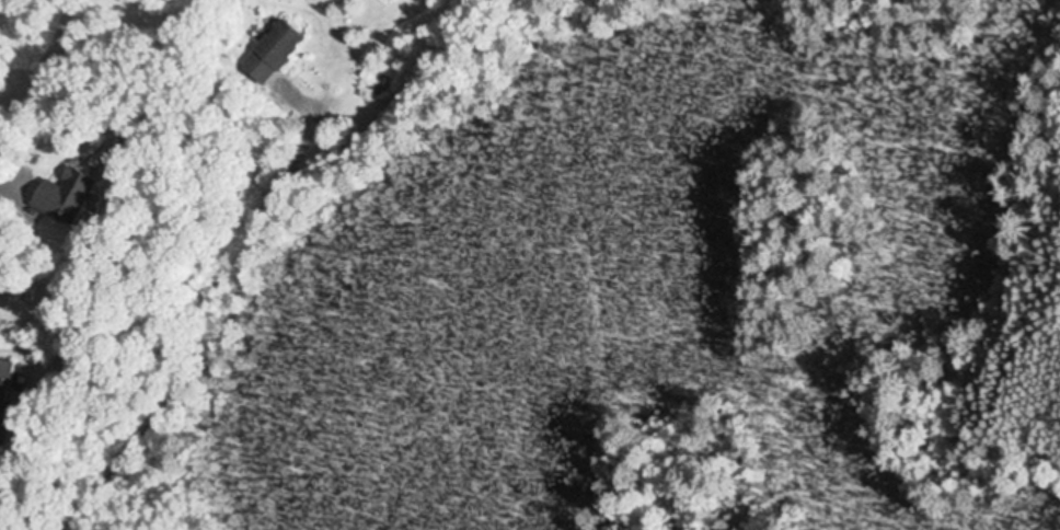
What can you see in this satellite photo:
building: (268, 54)
building: (60, 197)
building: (3, 388)

